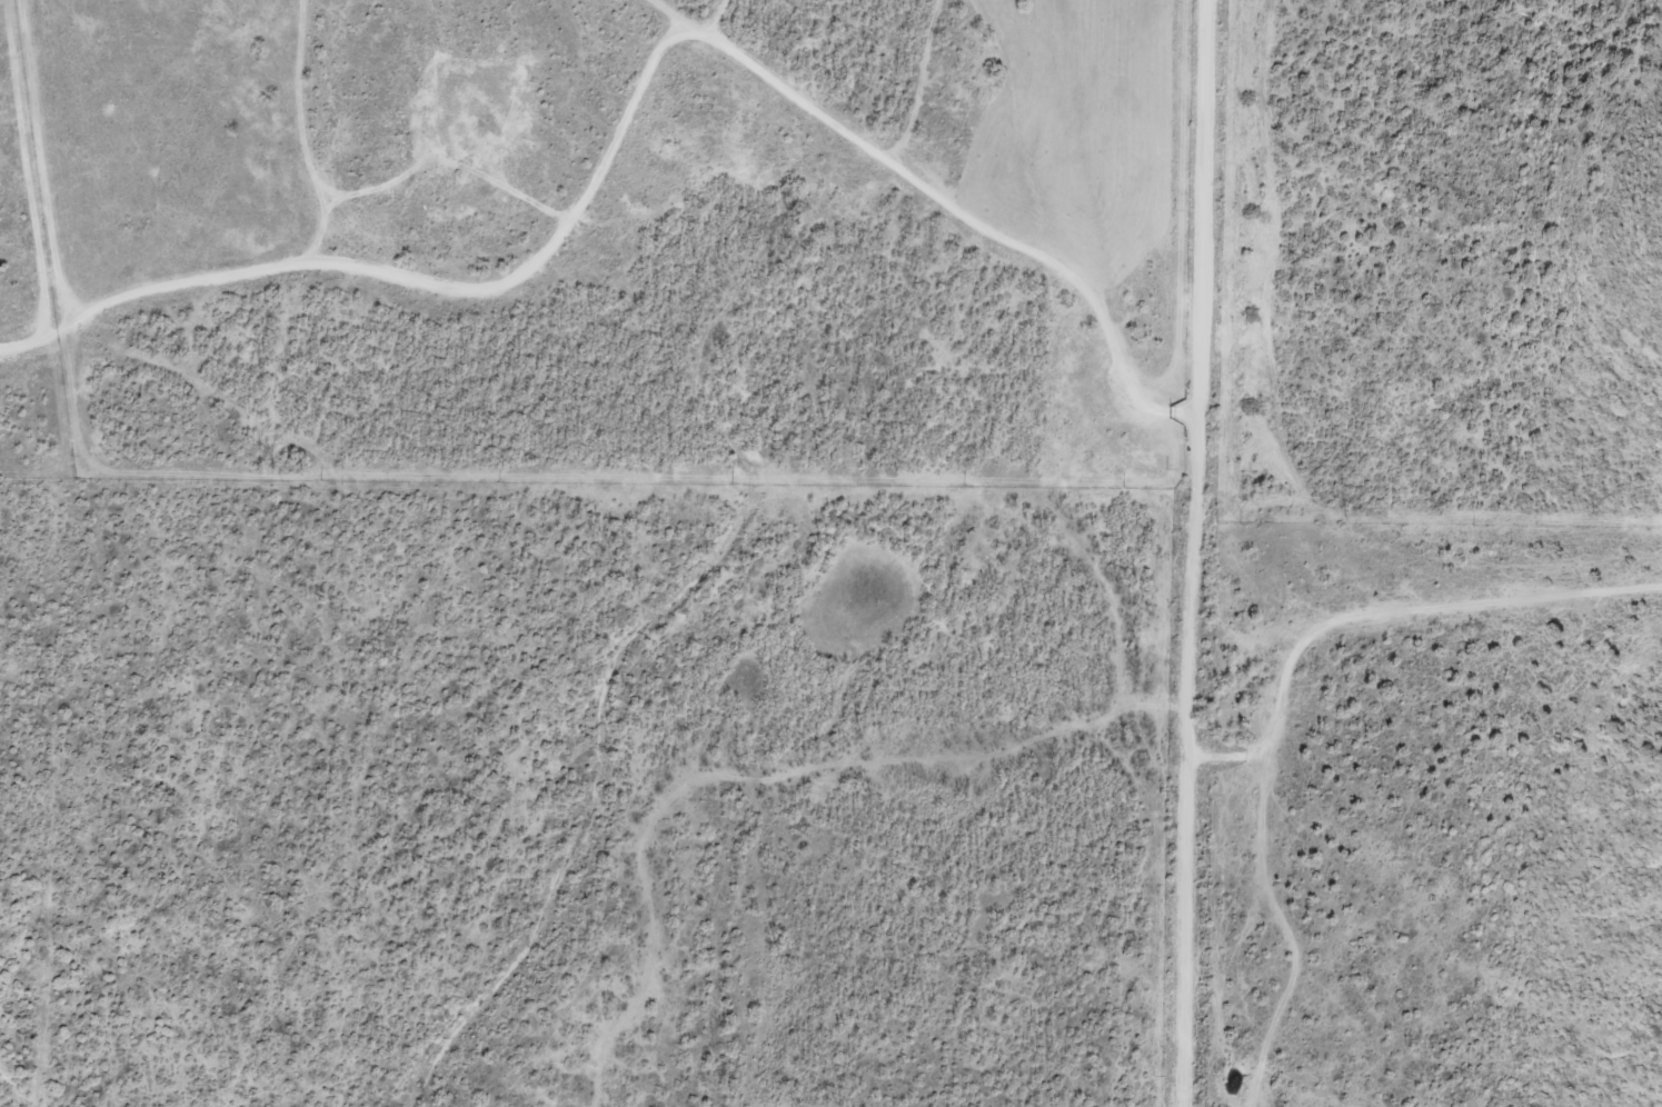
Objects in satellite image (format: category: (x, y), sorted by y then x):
road: (956, 182)
road: (1194, 553)
road: (1425, 675)

